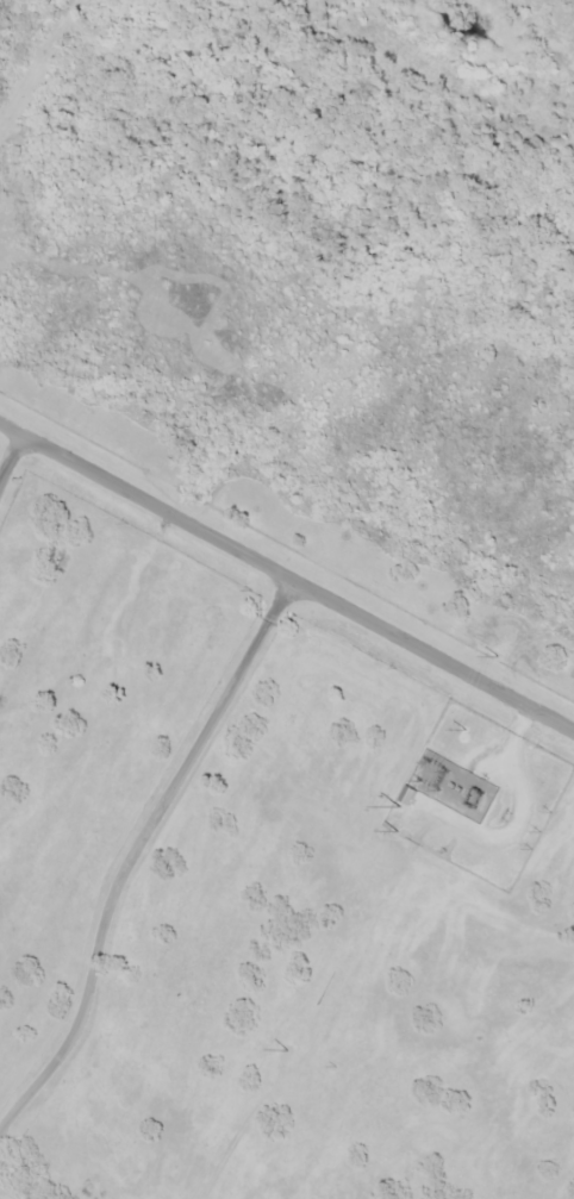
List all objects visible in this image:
road: (38, 62)
road: (8, 433)
road: (8, 456)
road: (294, 587)
power tower: (499, 658)
power tower: (461, 727)
power substation: (478, 795)
power tower: (404, 833)
road: (131, 853)
power tower: (286, 1051)

